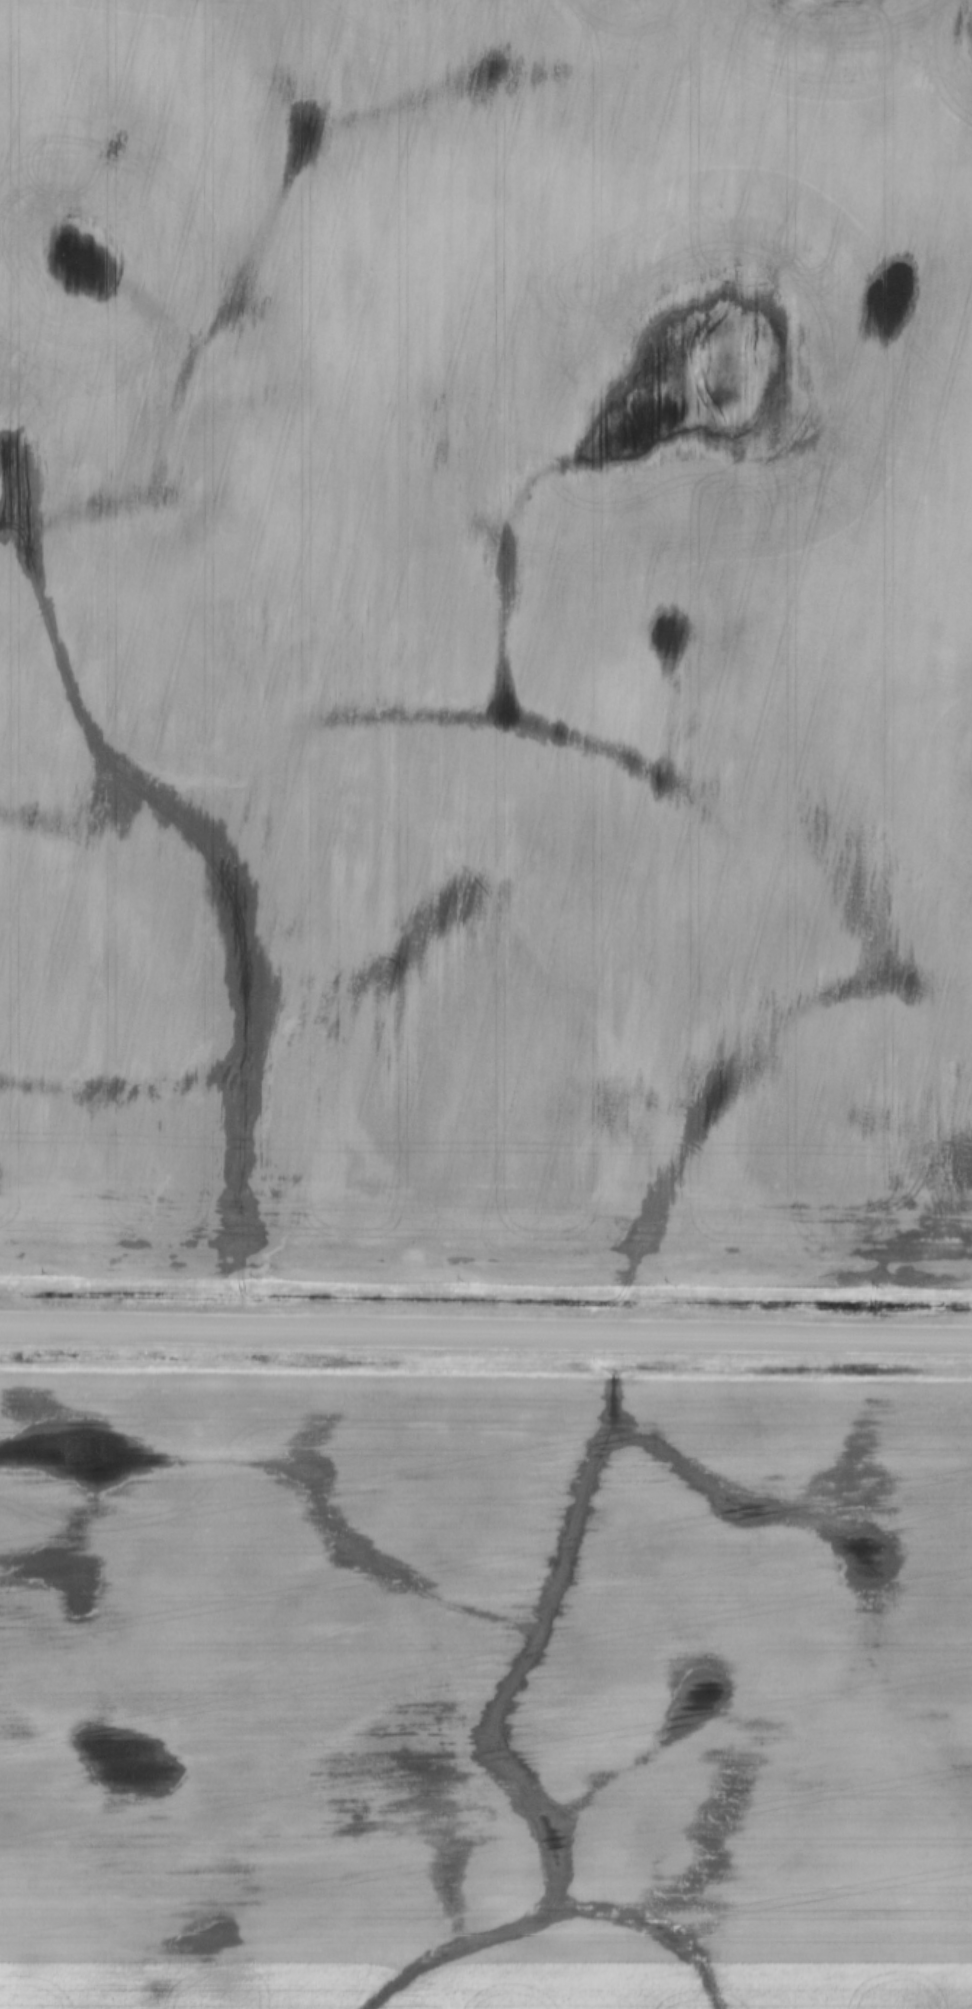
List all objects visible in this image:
road: (486, 1332)

